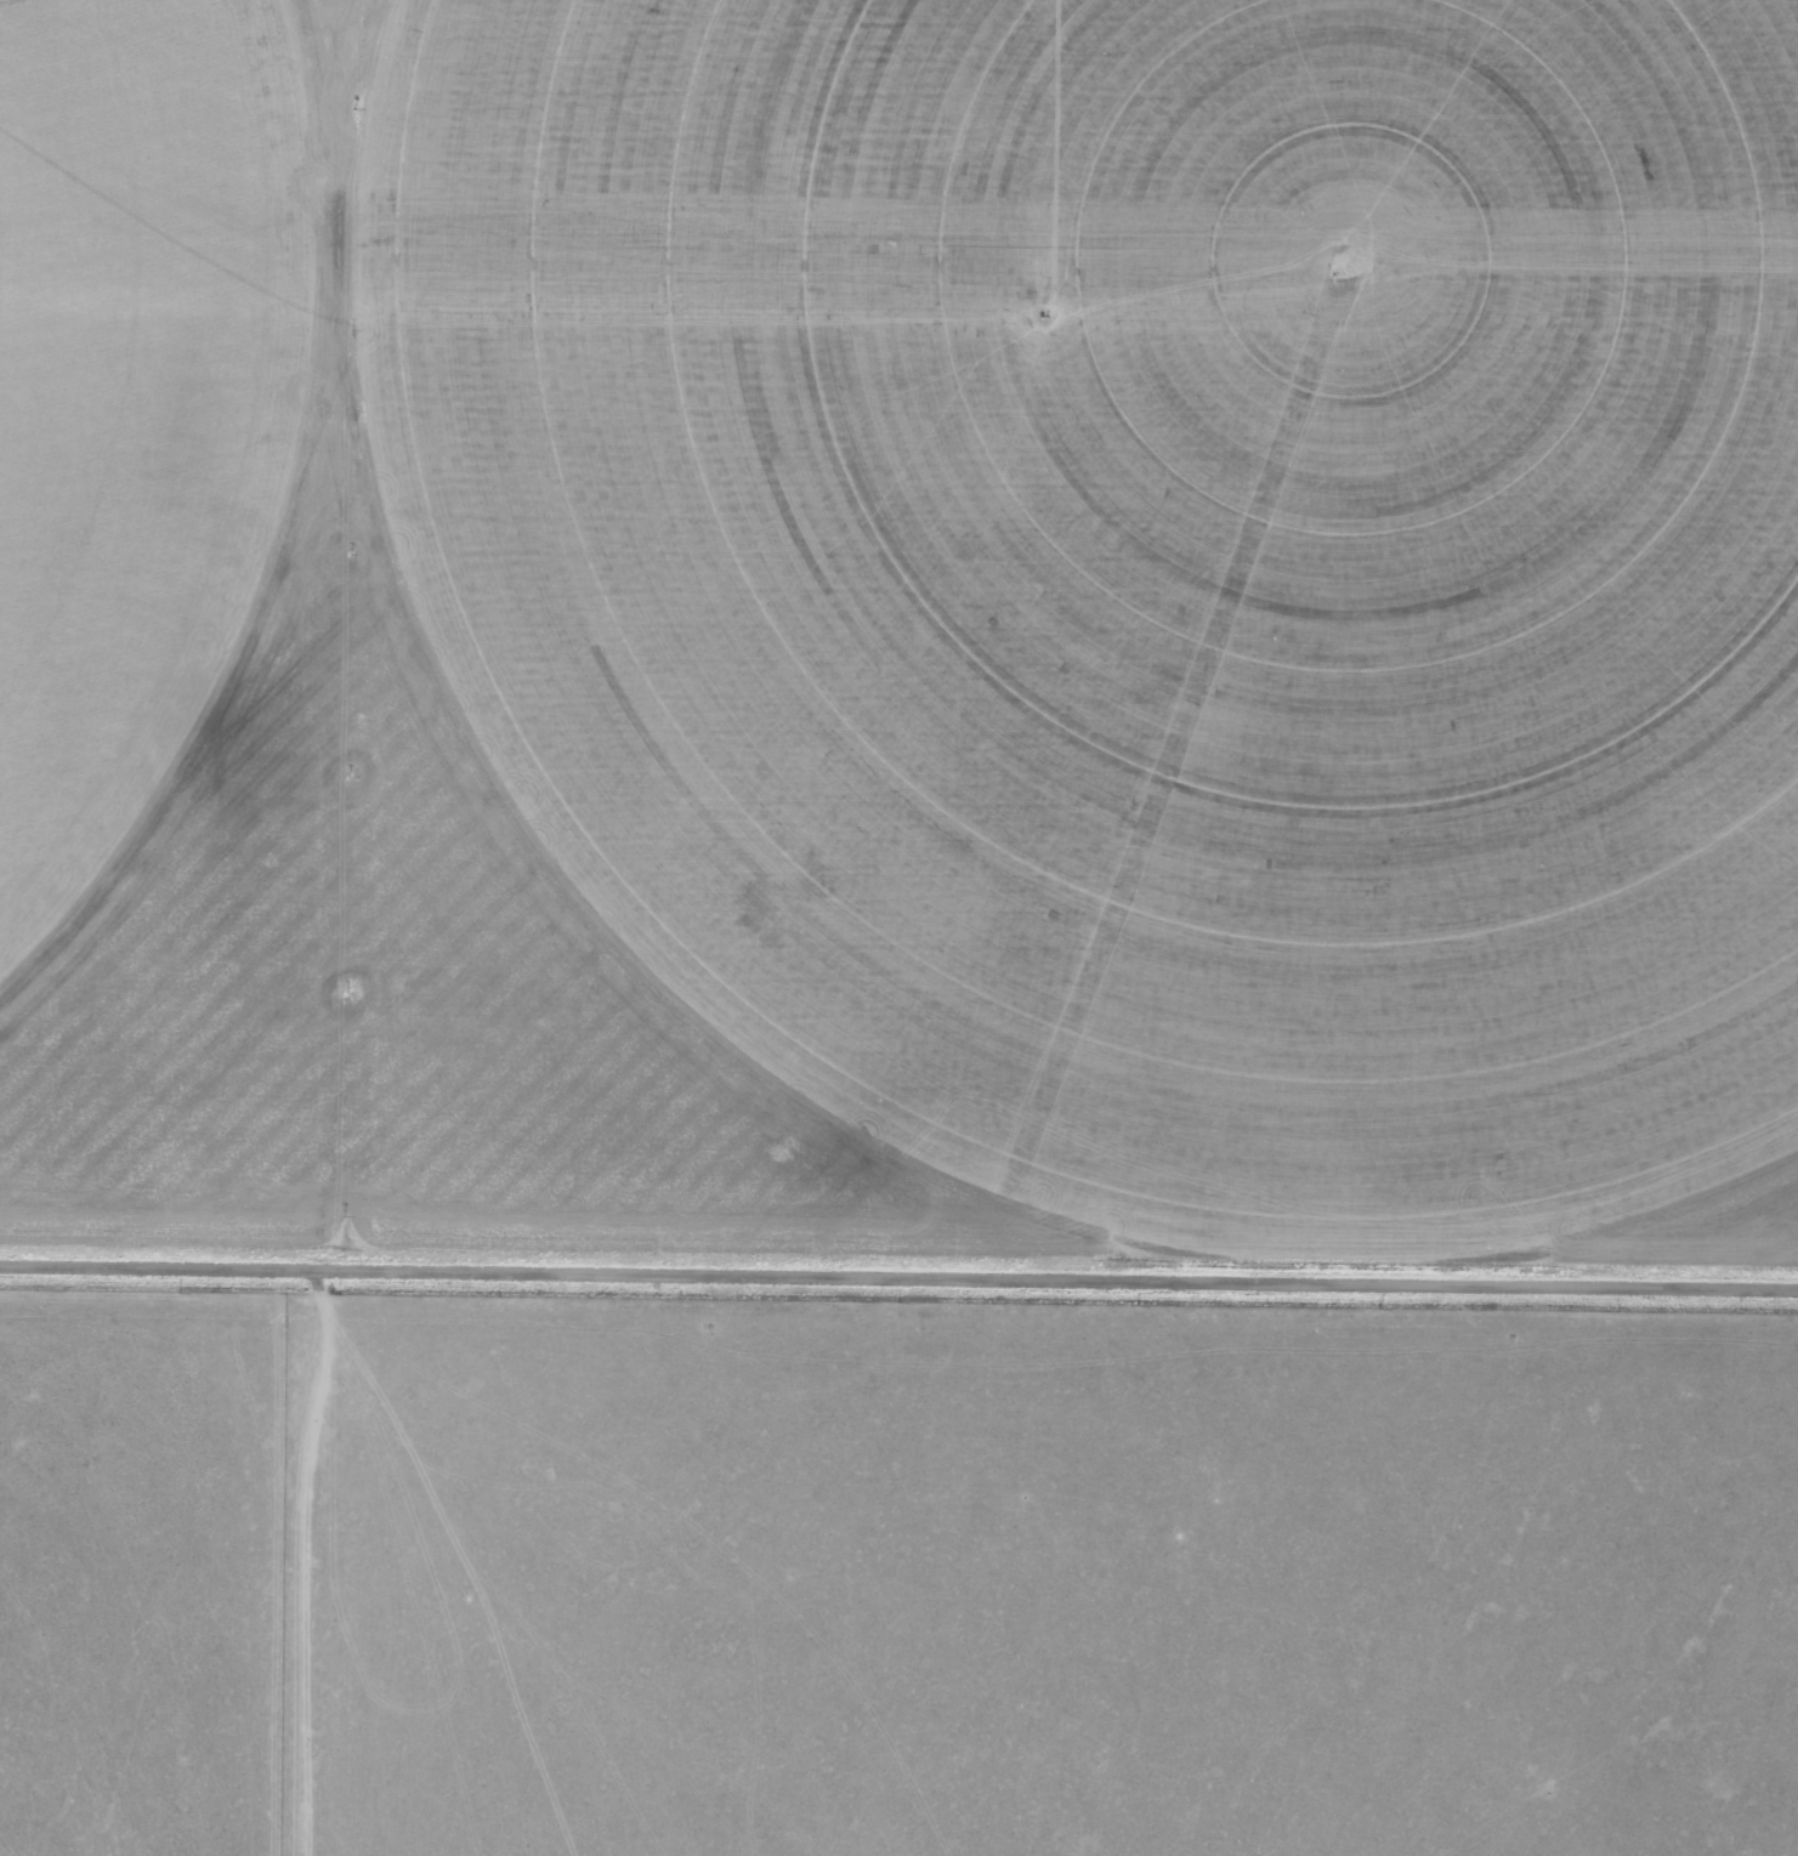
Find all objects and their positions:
road: (898, 1276)

